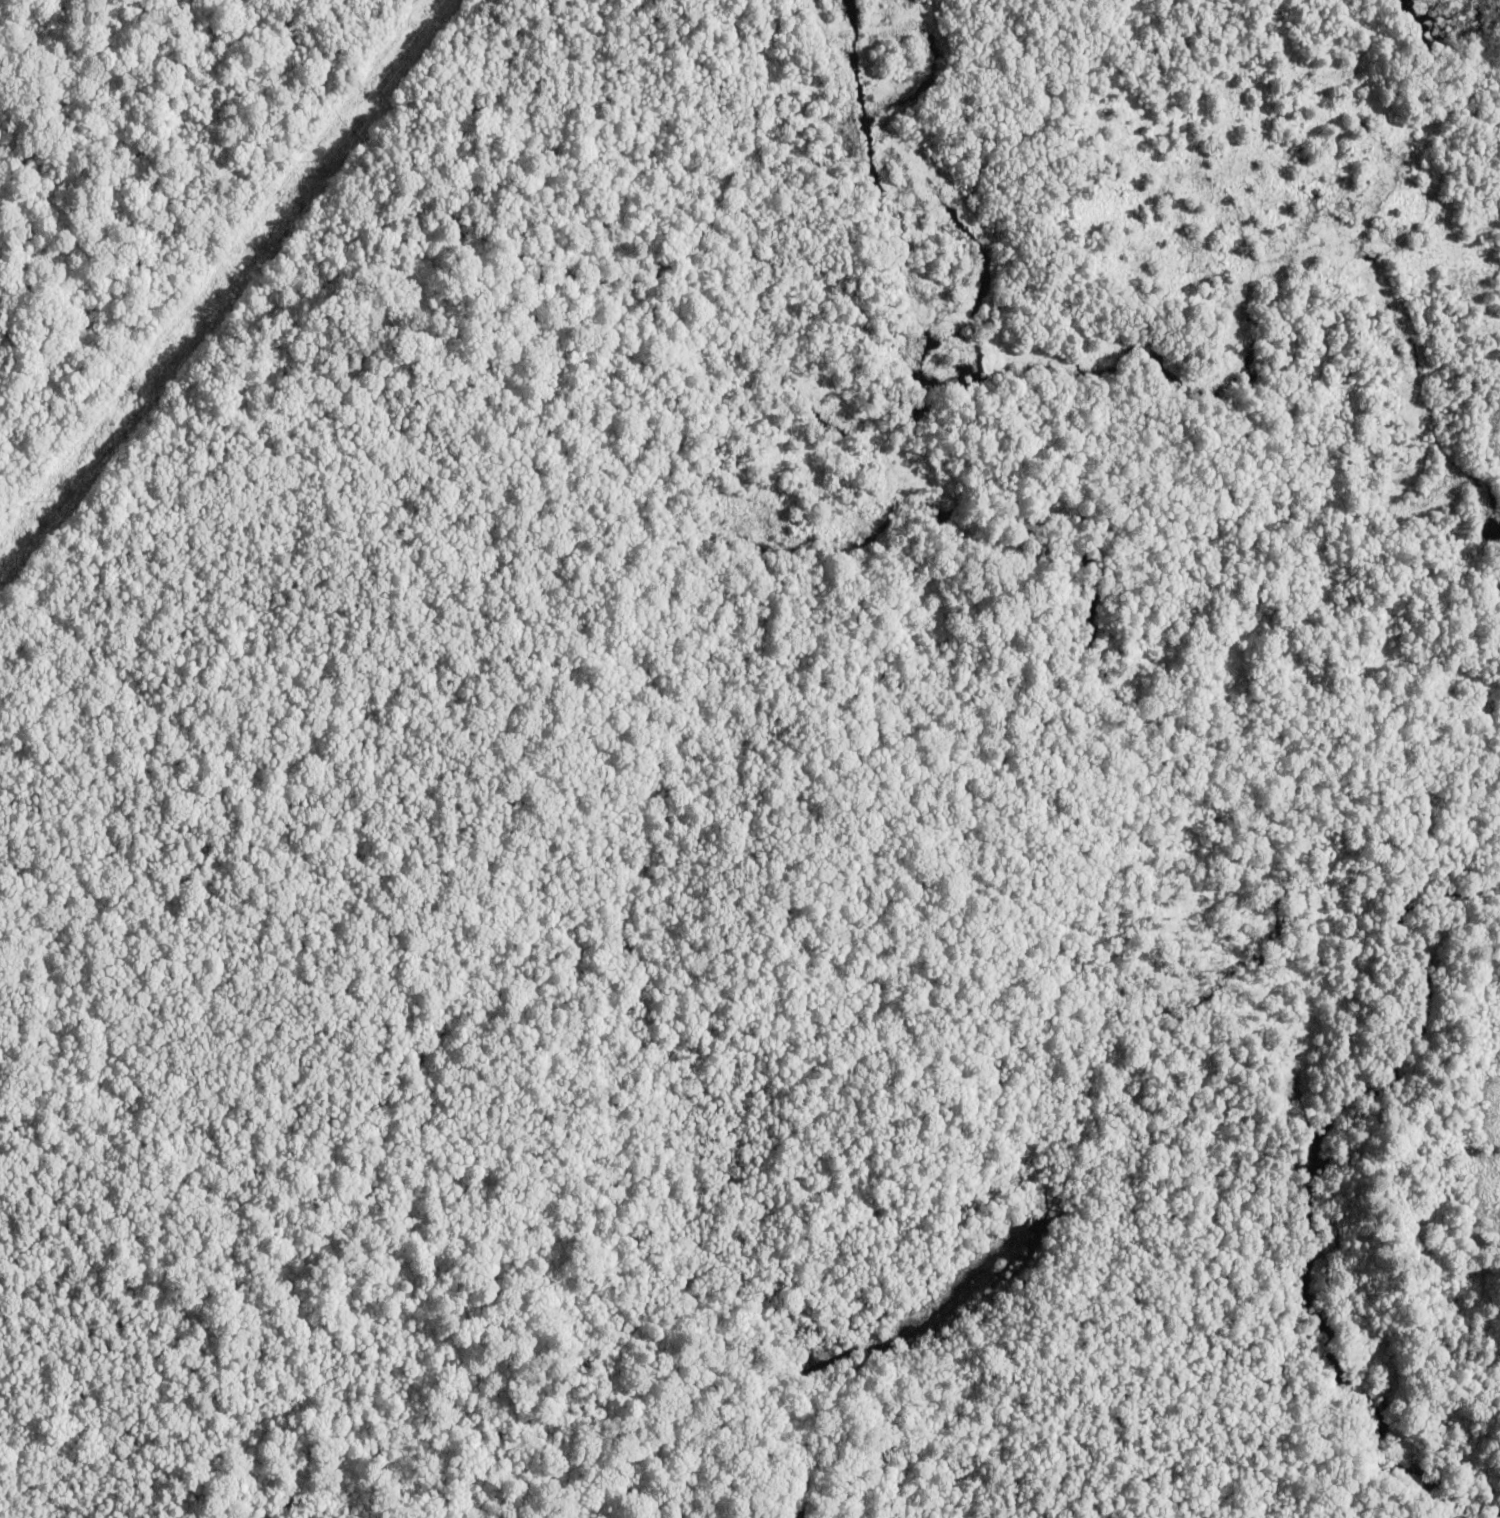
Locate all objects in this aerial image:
power tower: (343, 127)
power tower: (51, 499)

